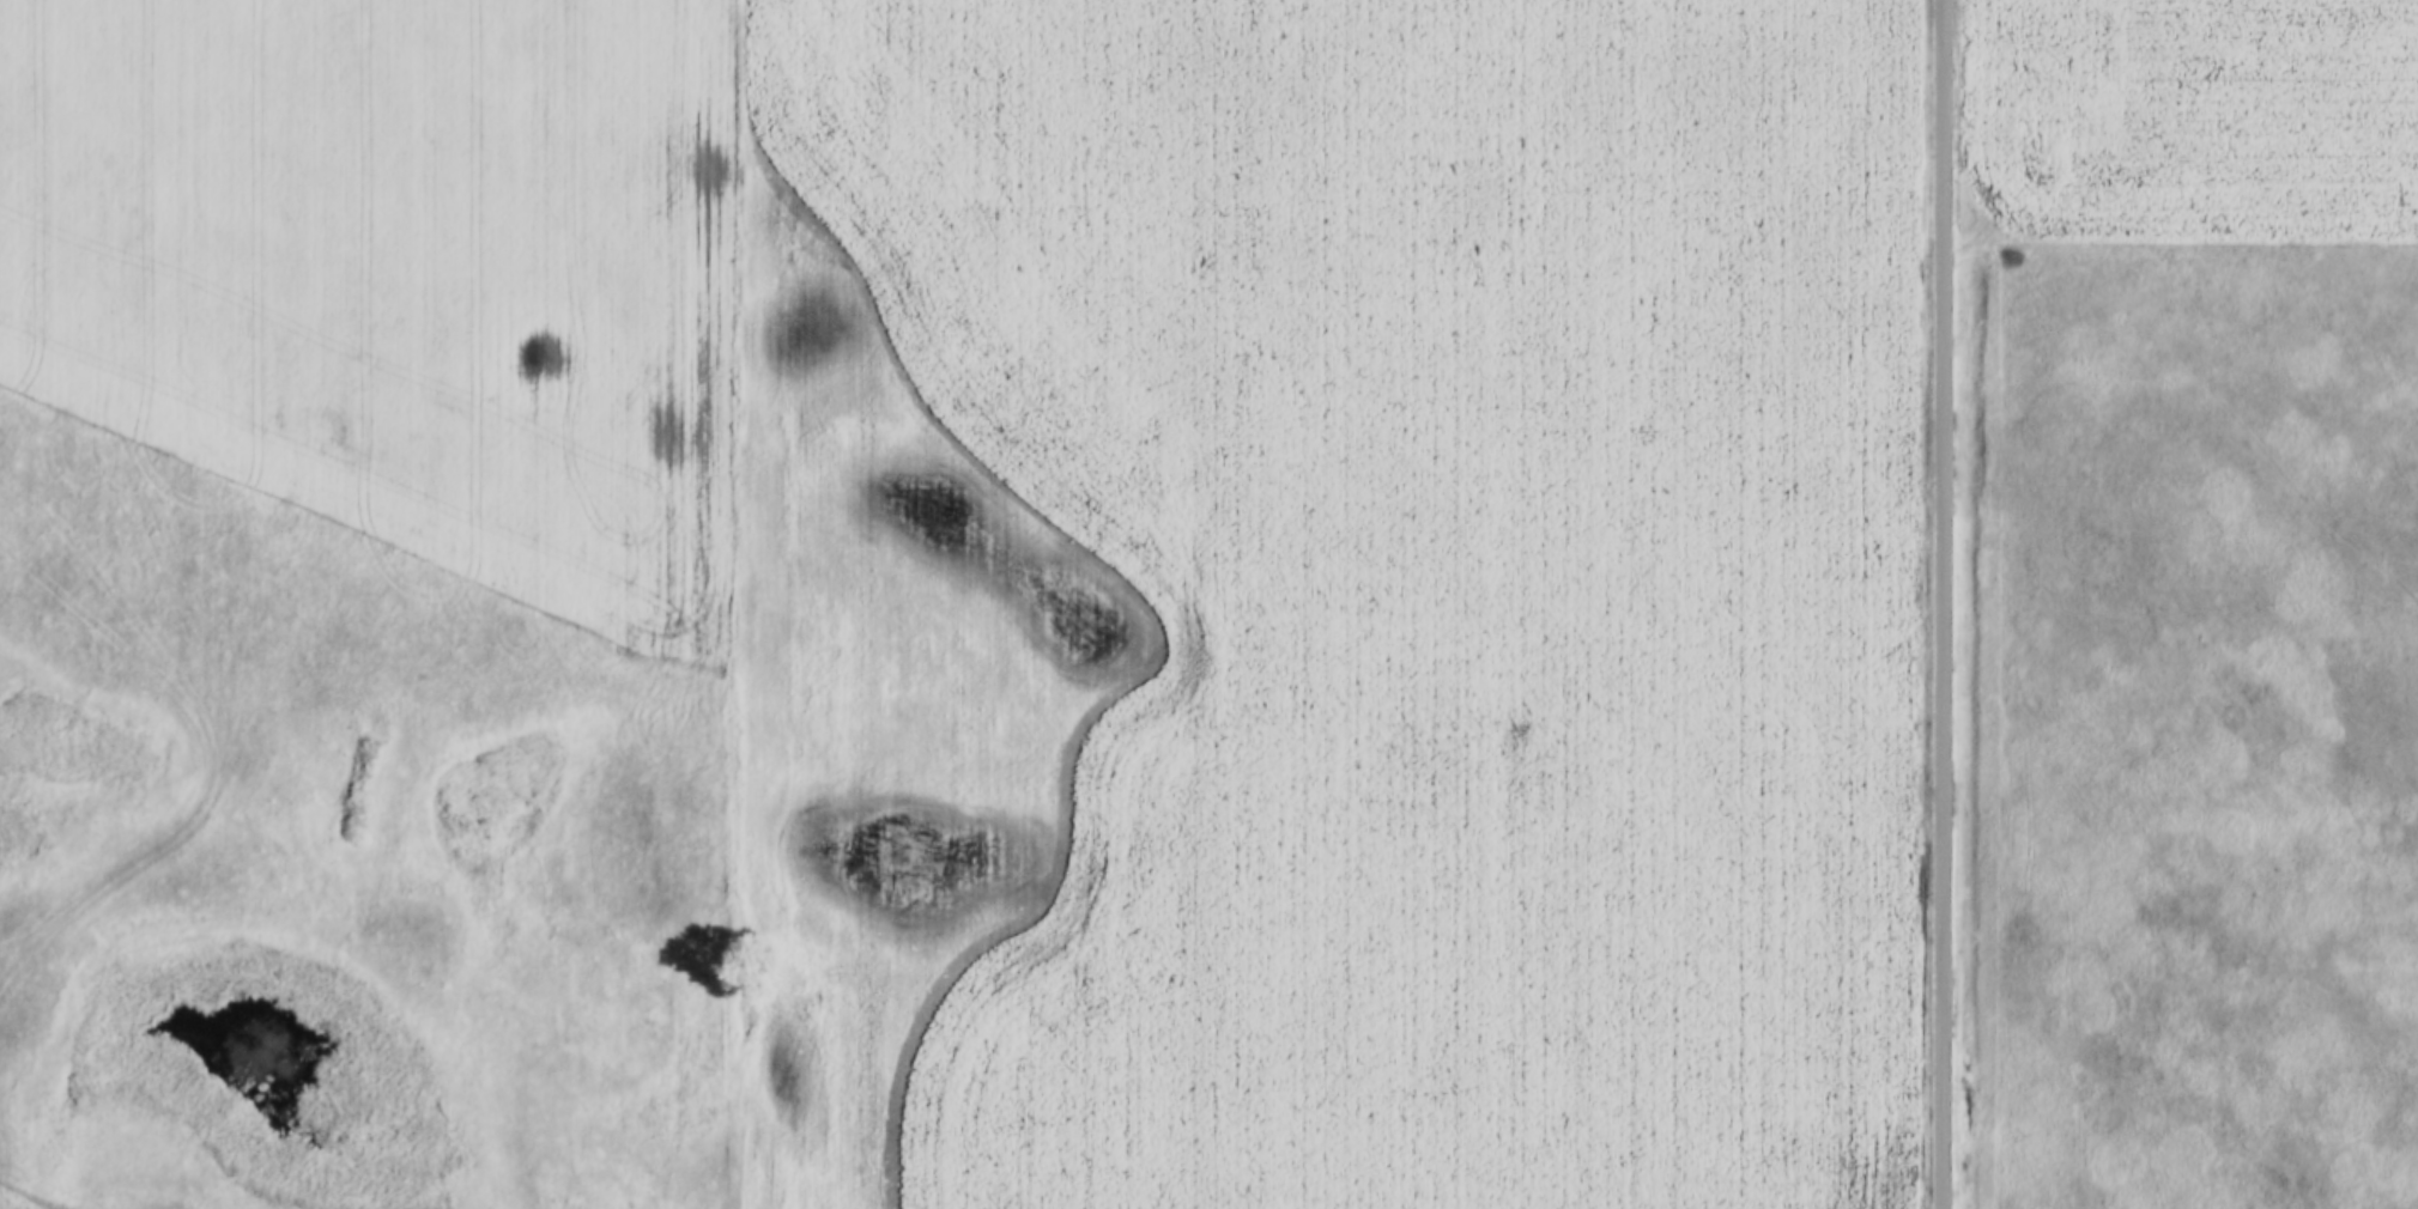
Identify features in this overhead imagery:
road: (1944, 604)

